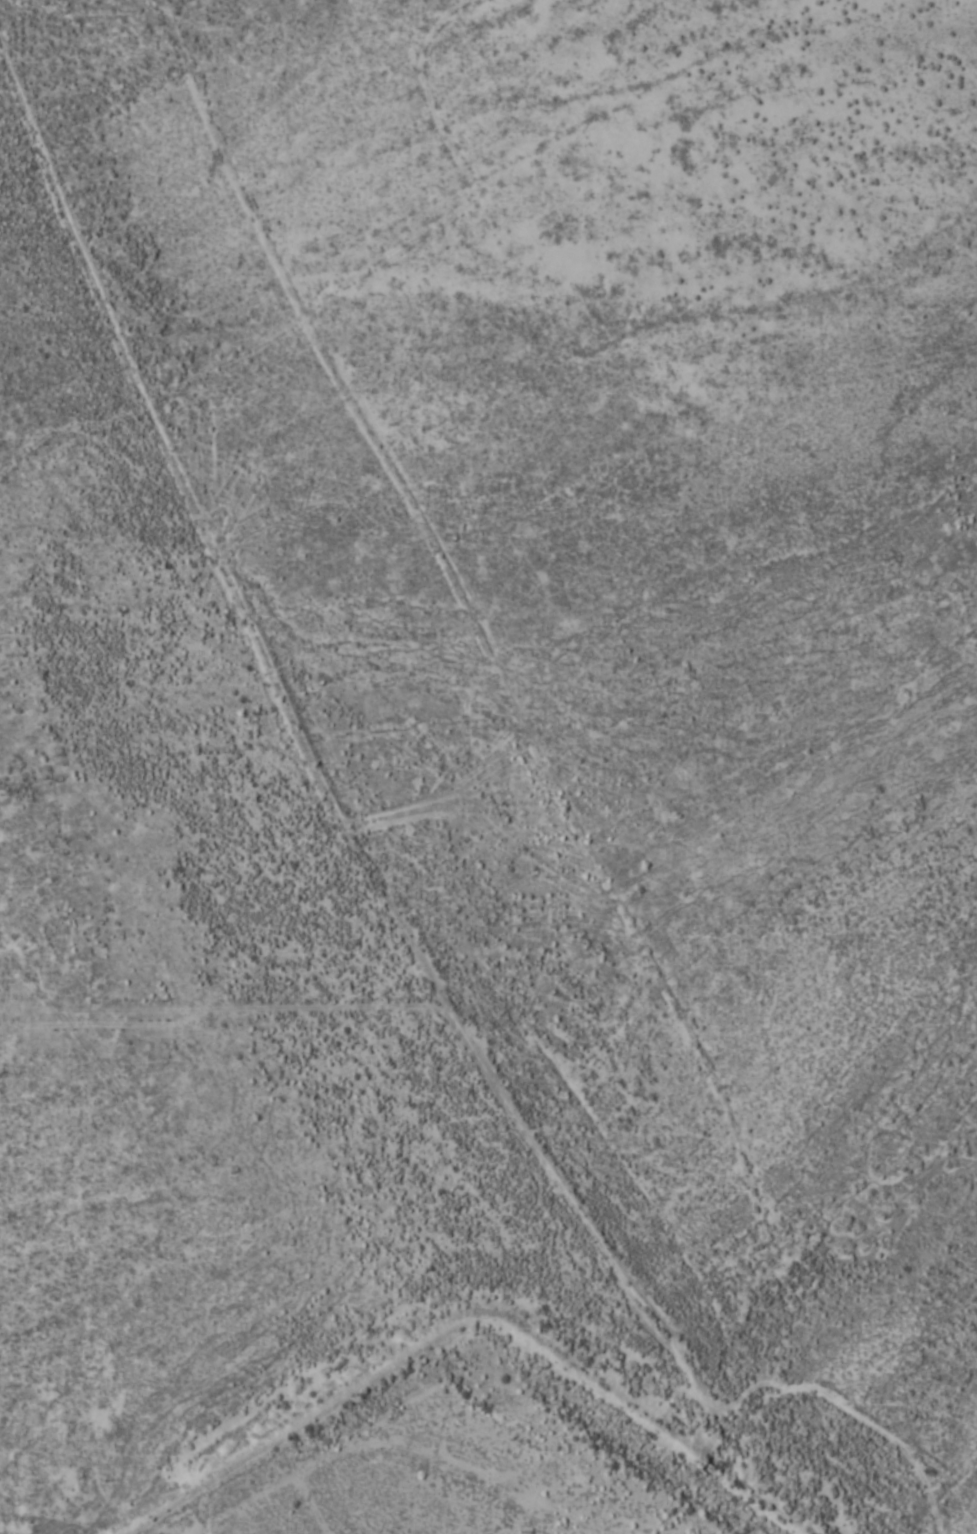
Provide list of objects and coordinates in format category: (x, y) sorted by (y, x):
crop: (488, 767)
road: (853, 1504)

